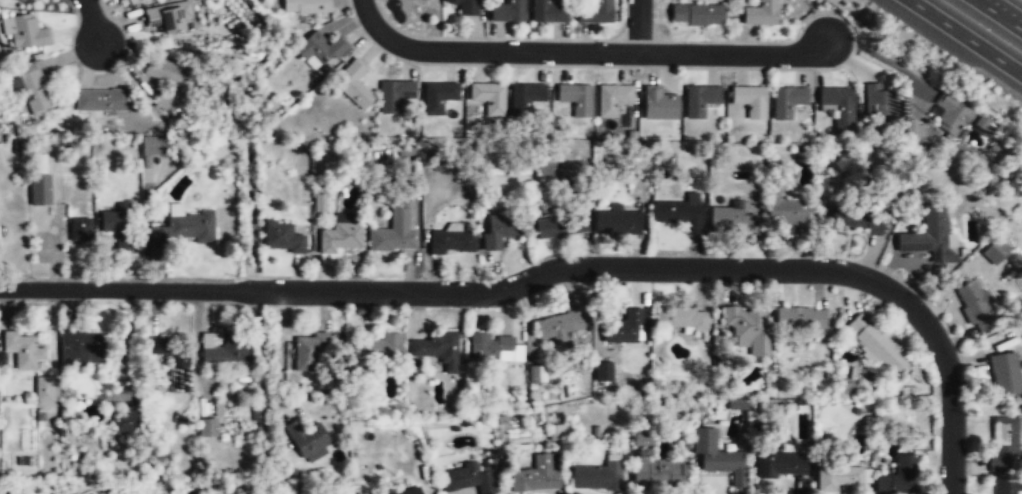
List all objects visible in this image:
building: (21, 0)
building: (132, 2)
building: (304, 6)
building: (465, 7)
building: (508, 12)
building: (547, 12)
building: (595, 12)
road: (1009, 13)
building: (698, 14)
building: (760, 14)
road: (998, 14)
building: (171, 16)
road: (93, 21)
road: (638, 26)
building: (25, 32)
road: (965, 37)
building: (318, 46)
road: (584, 51)
building: (168, 82)
building: (353, 83)
building: (32, 88)
building: (393, 93)
building: (436, 95)
building: (488, 96)
building: (523, 96)
building: (575, 97)
building: (612, 97)
building: (699, 98)
building: (750, 99)
building: (786, 100)
building: (101, 101)
building: (658, 102)
building: (880, 104)
building: (838, 105)
building: (950, 113)
building: (981, 123)
building: (152, 149)
building: (40, 189)
building: (680, 214)
building: (789, 214)
building: (115, 219)
building: (731, 220)
building: (856, 221)
building: (617, 223)
building: (186, 226)
building: (79, 228)
building: (560, 228)
building: (396, 230)
building: (498, 232)
building: (928, 234)
building: (341, 235)
building: (282, 237)
building: (452, 243)
building: (994, 250)
street lamp: (245, 277)
street lamp: (90, 278)
road: (486, 291)
street lamp: (925, 298)
building: (974, 303)
street lamp: (464, 308)
building: (679, 316)
building: (798, 317)
building: (559, 324)
building: (621, 326)
building: (746, 329)
building: (487, 344)
building: (379, 345)
building: (437, 347)
building: (881, 347)
building: (81, 348)
building: (224, 349)
building: (306, 349)
building: (23, 351)
road: (279, 353)
building: (168, 355)
building: (602, 371)
building: (1005, 374)
building: (43, 390)
road: (950, 418)
building: (126, 421)
building: (208, 426)
building: (556, 431)
building: (643, 440)
building: (308, 441)
building: (1005, 441)
building: (717, 455)
building: (777, 463)
building: (655, 469)
building: (534, 475)
building: (596, 475)
building: (898, 476)
building: (838, 477)
building: (467, 478)
building: (1005, 487)
building: (409, 491)
building: (334, 492)

